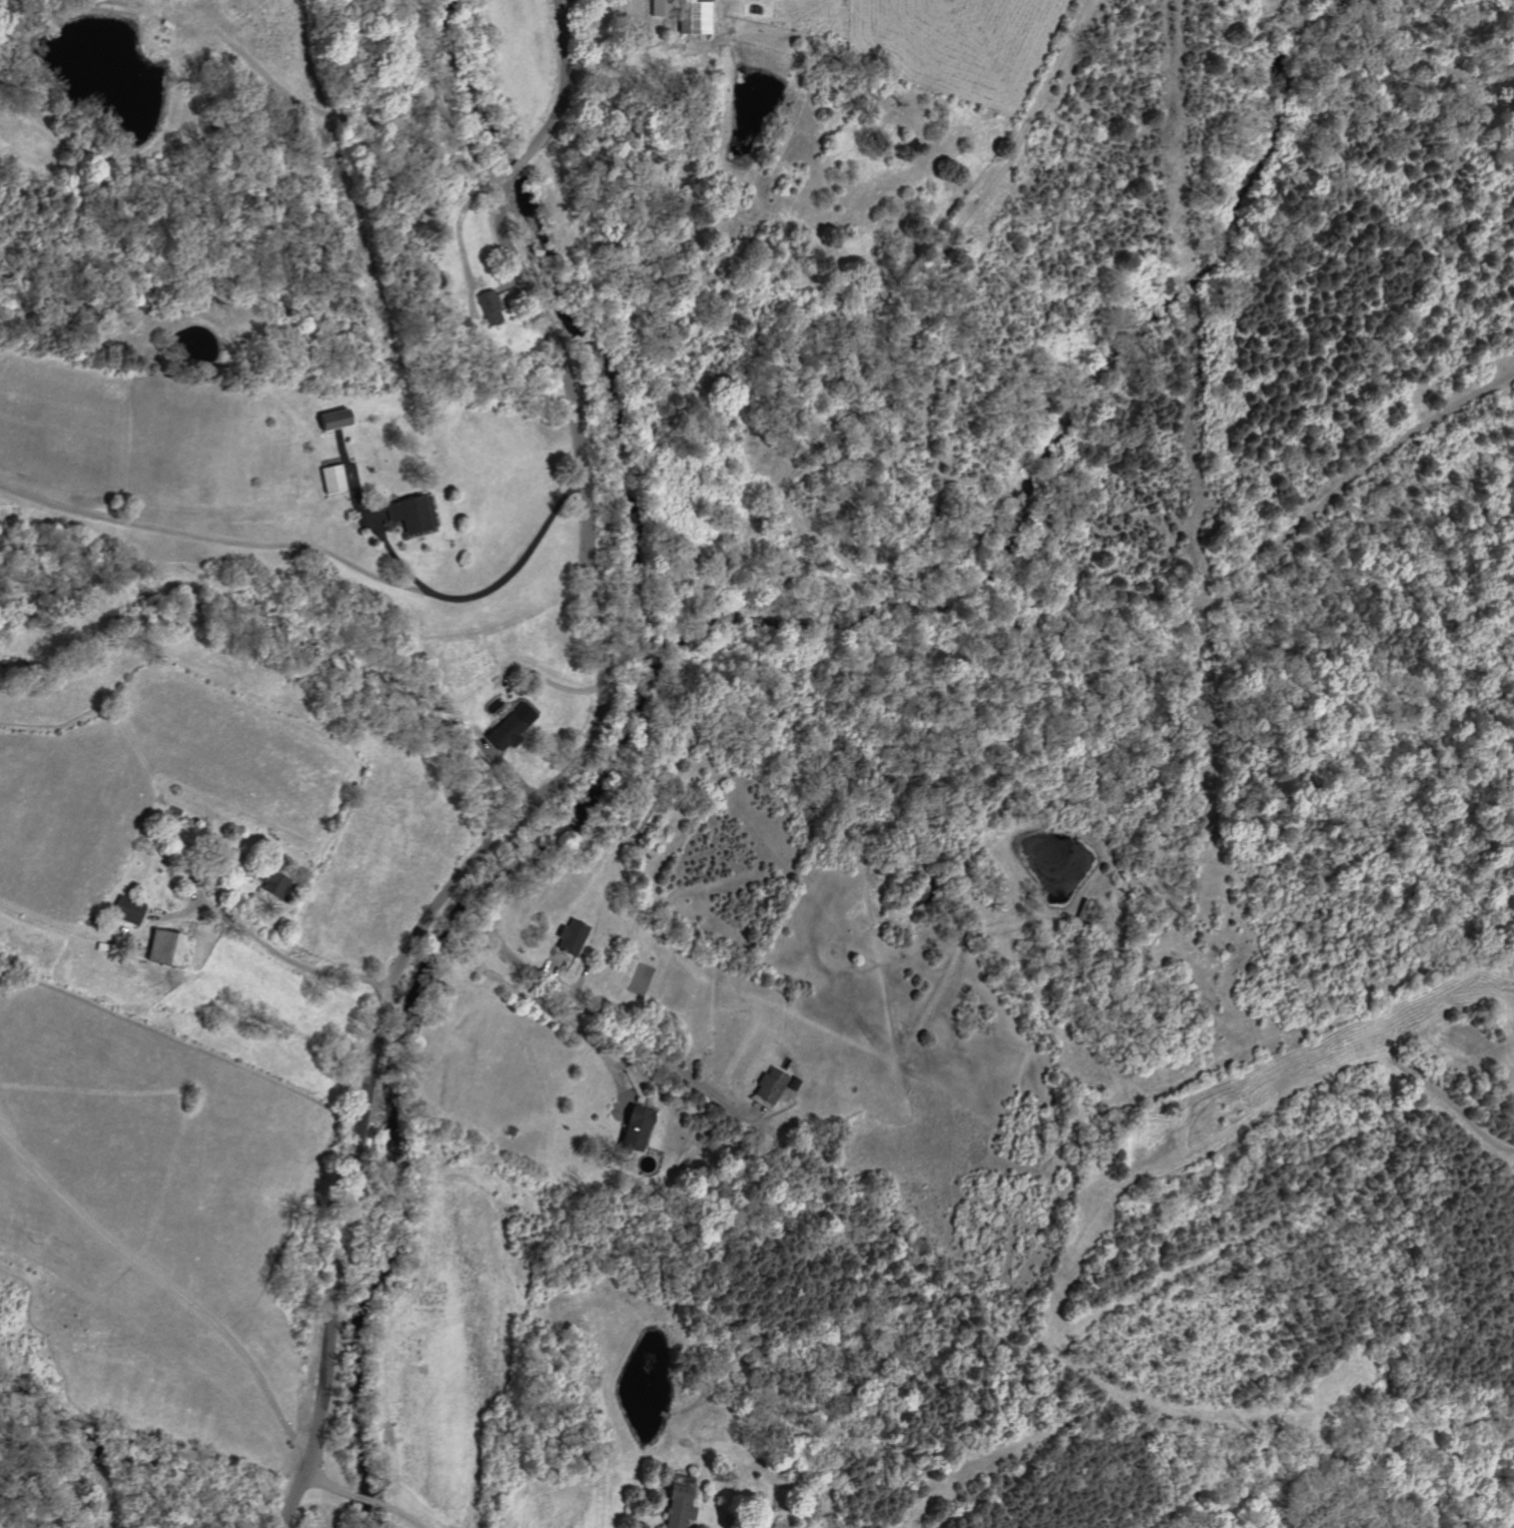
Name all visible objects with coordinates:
building: (659, 7)
road: (444, 98)
building: (487, 307)
building: (327, 420)
building: (329, 478)
building: (409, 513)
road: (366, 522)
road: (320, 548)
building: (507, 727)
road: (561, 777)
building: (268, 883)
building: (127, 910)
building: (569, 938)
building: (158, 948)
road: (283, 955)
road: (569, 990)
road: (539, 1003)
building: (767, 1086)
building: (634, 1129)
road: (167, 1284)
road: (360, 1497)
building: (677, 1505)

